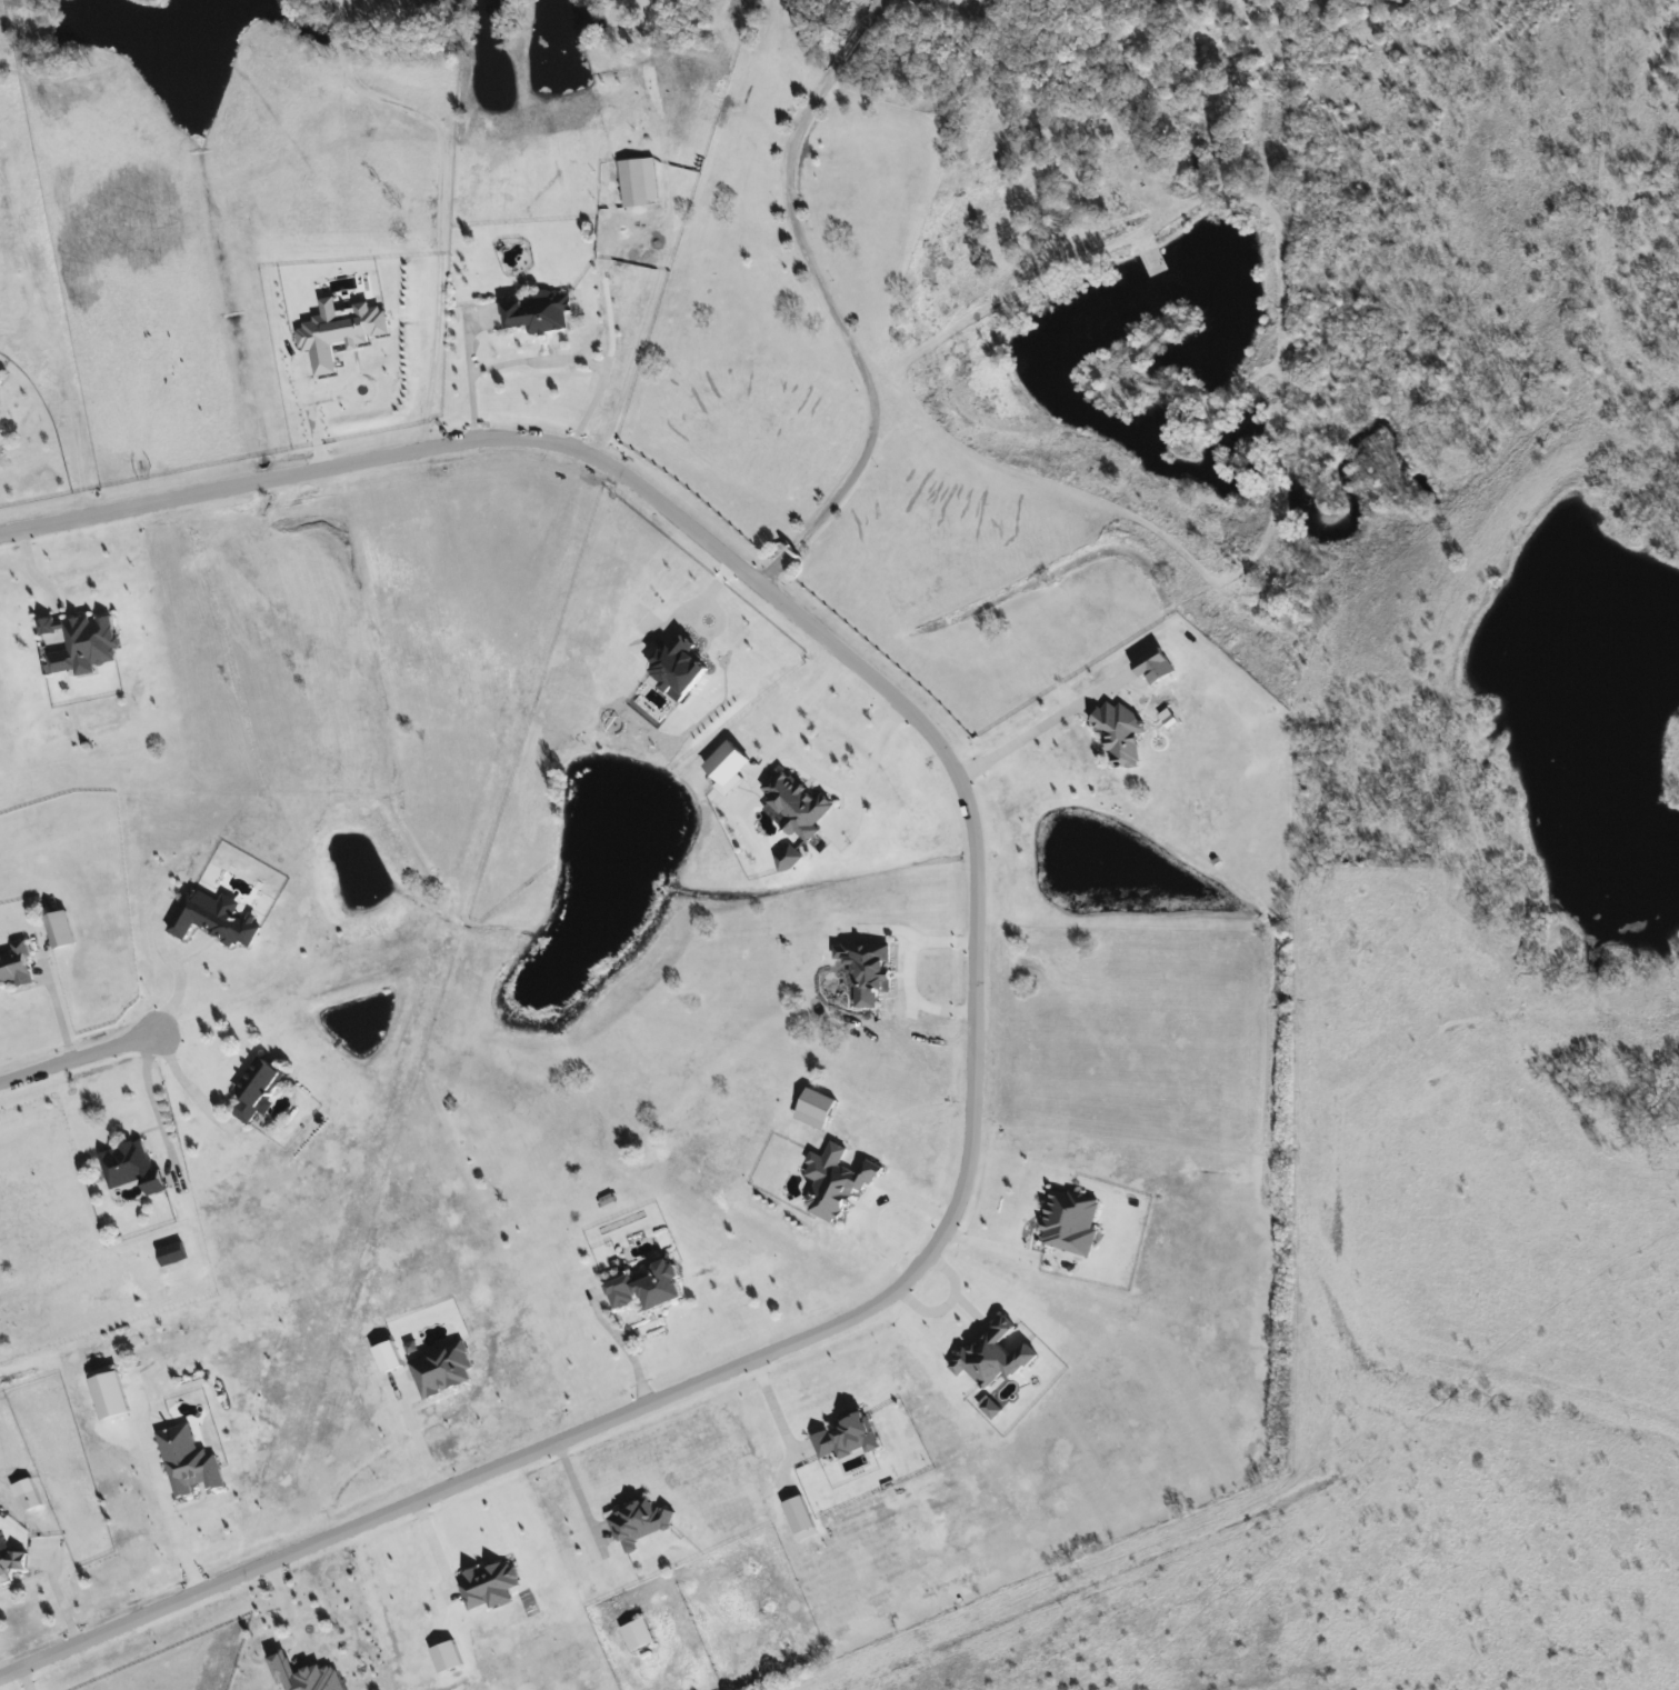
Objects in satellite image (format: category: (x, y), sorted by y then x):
building: (633, 181)
building: (1151, 259)
road: (826, 297)
building: (539, 312)
road: (537, 356)
road: (313, 406)
building: (83, 640)
building: (1156, 666)
building: (1123, 733)
road: (1029, 734)
road: (809, 770)
building: (214, 919)
building: (60, 929)
building: (16, 963)
road: (169, 966)
road: (913, 976)
road: (977, 979)
road: (57, 1003)
road: (77, 1056)
road: (181, 1084)
building: (256, 1087)
road: (149, 1102)
building: (130, 1164)
road: (868, 1206)
road: (1003, 1249)
building: (172, 1252)
building: (647, 1287)
road: (631, 1344)
building: (109, 1391)
road: (777, 1403)
road: (421, 1430)
building: (189, 1458)
road: (583, 1488)
building: (24, 1500)
road: (161, 1509)
building: (639, 1522)
building: (12, 1562)
building: (489, 1581)
road: (52, 1596)
road: (287, 1611)
building: (638, 1633)
building: (307, 1673)
road: (20, 1680)

